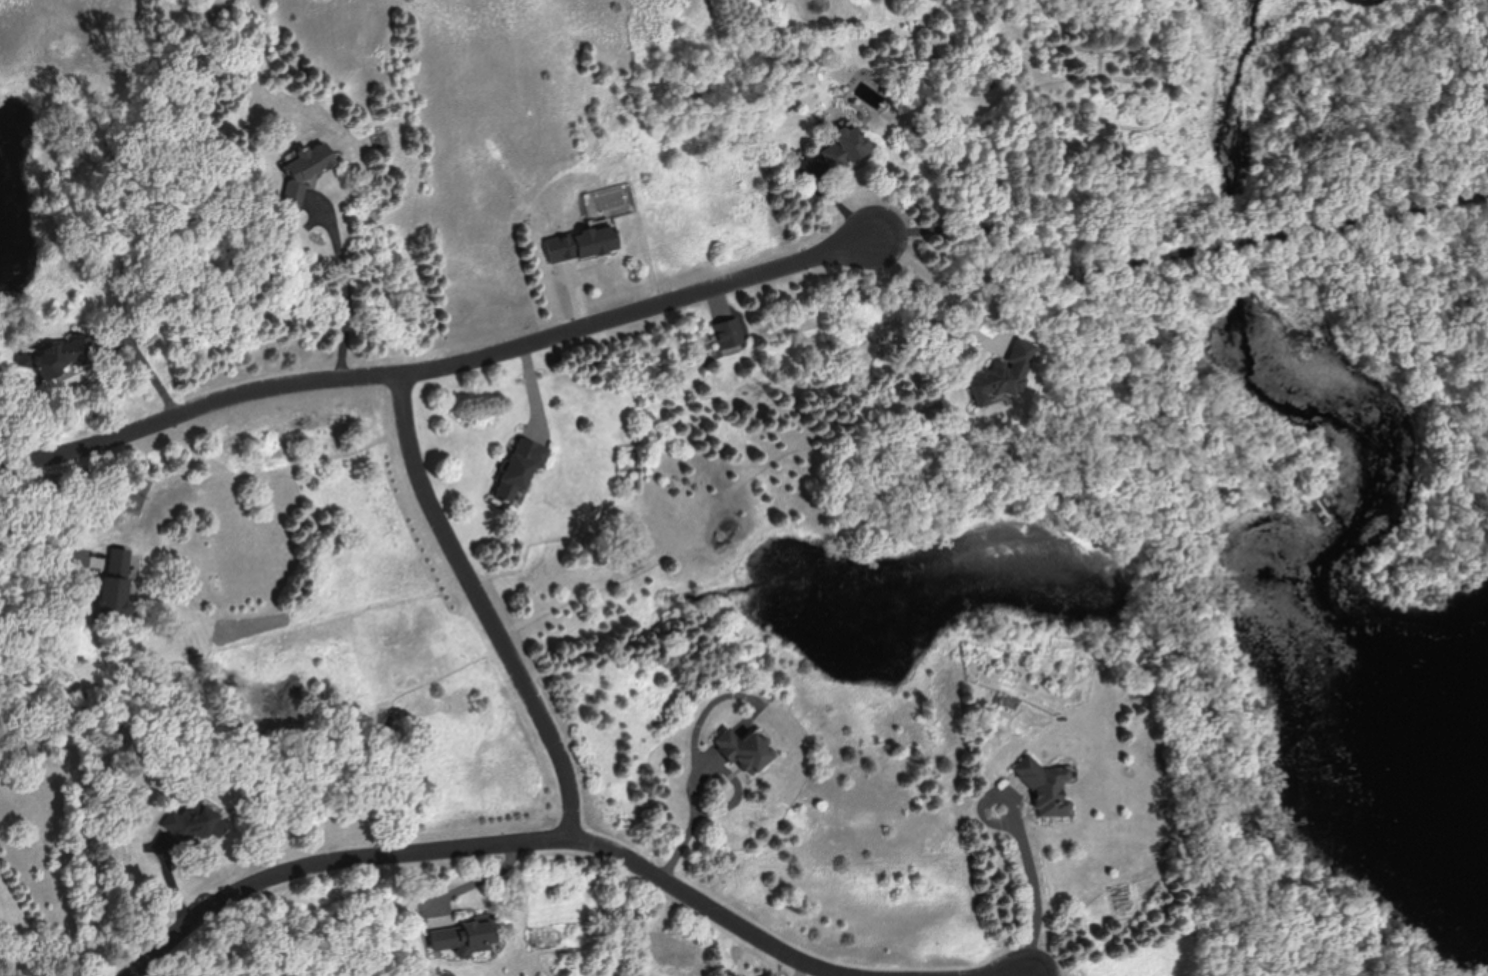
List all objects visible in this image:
building: (846, 146)
building: (304, 172)
building: (582, 242)
road: (1186, 253)
road: (349, 283)
building: (728, 332)
road: (974, 335)
building: (52, 355)
road: (449, 366)
road: (146, 369)
building: (1004, 380)
building: (519, 471)
road: (24, 556)
building: (114, 580)
road: (488, 608)
building: (744, 750)
road: (711, 770)
building: (1050, 789)
road: (990, 816)
building: (194, 823)
road: (494, 842)
road: (689, 843)
road: (1037, 893)
building: (464, 938)

